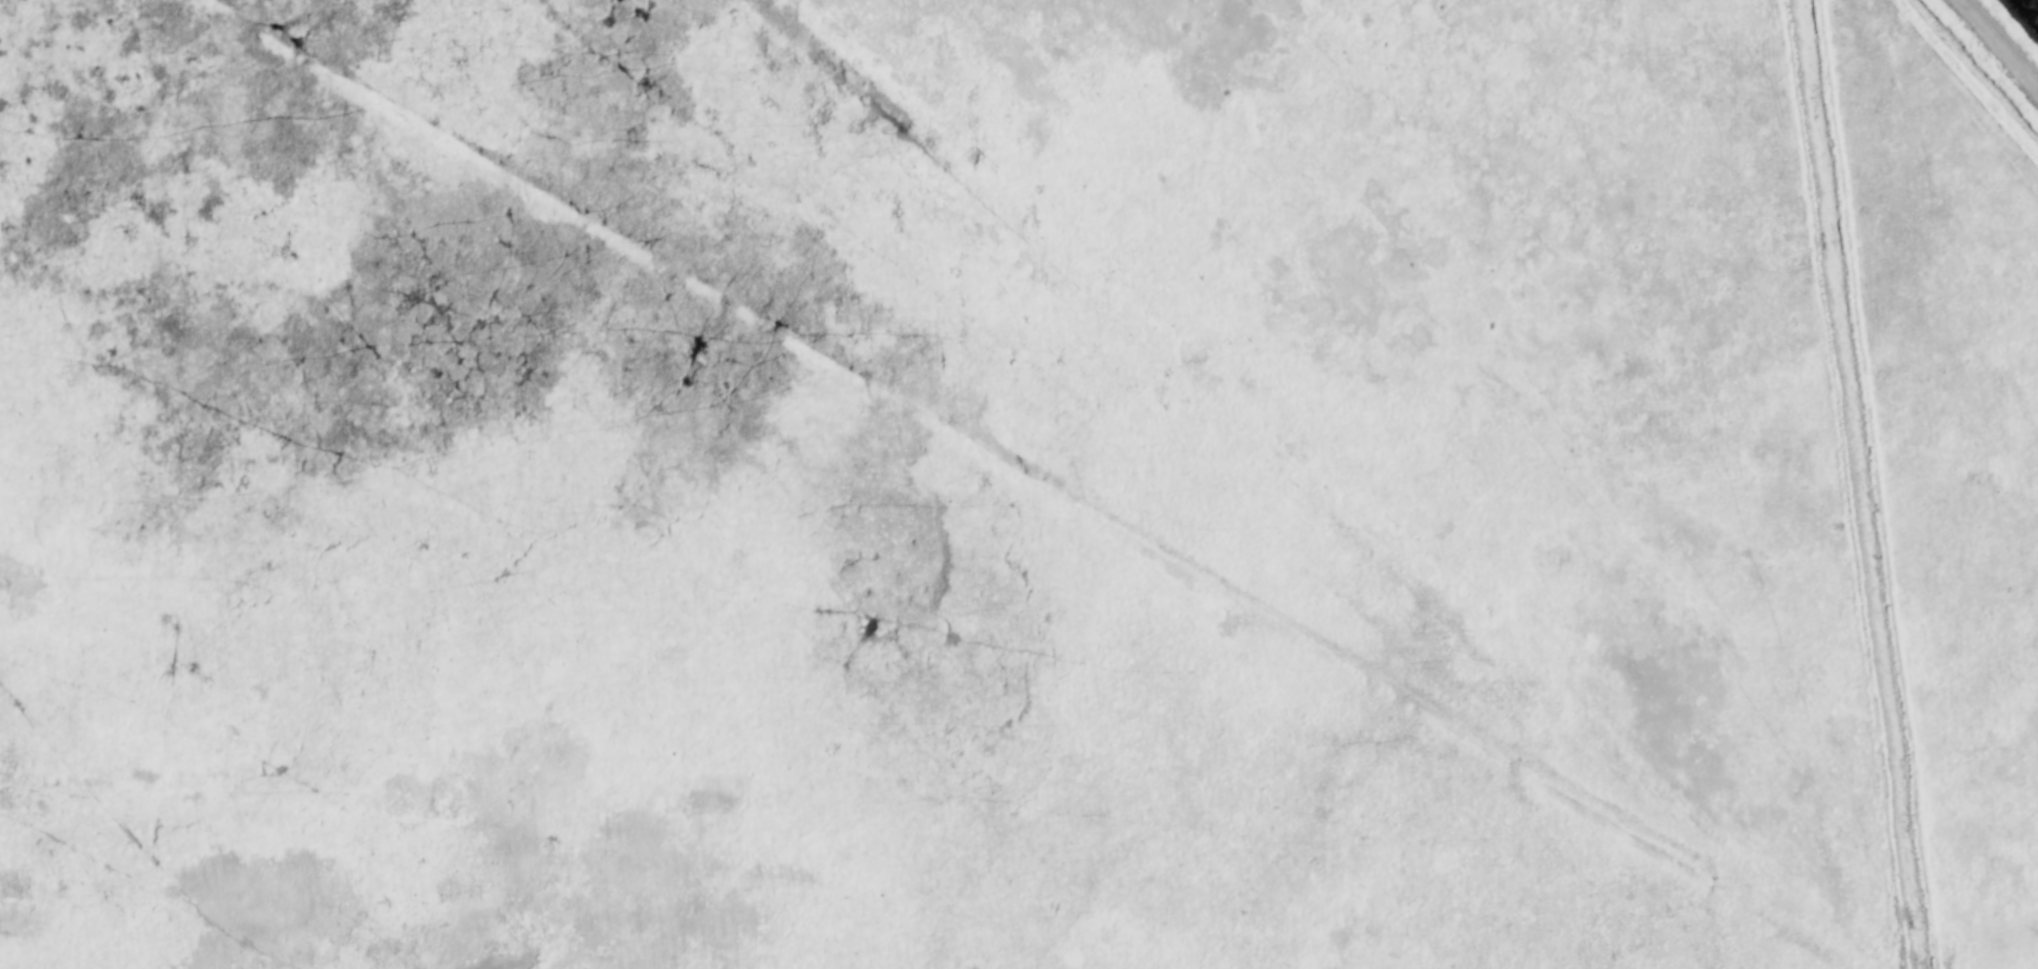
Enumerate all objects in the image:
river: (2025, 14)
road: (1981, 68)

